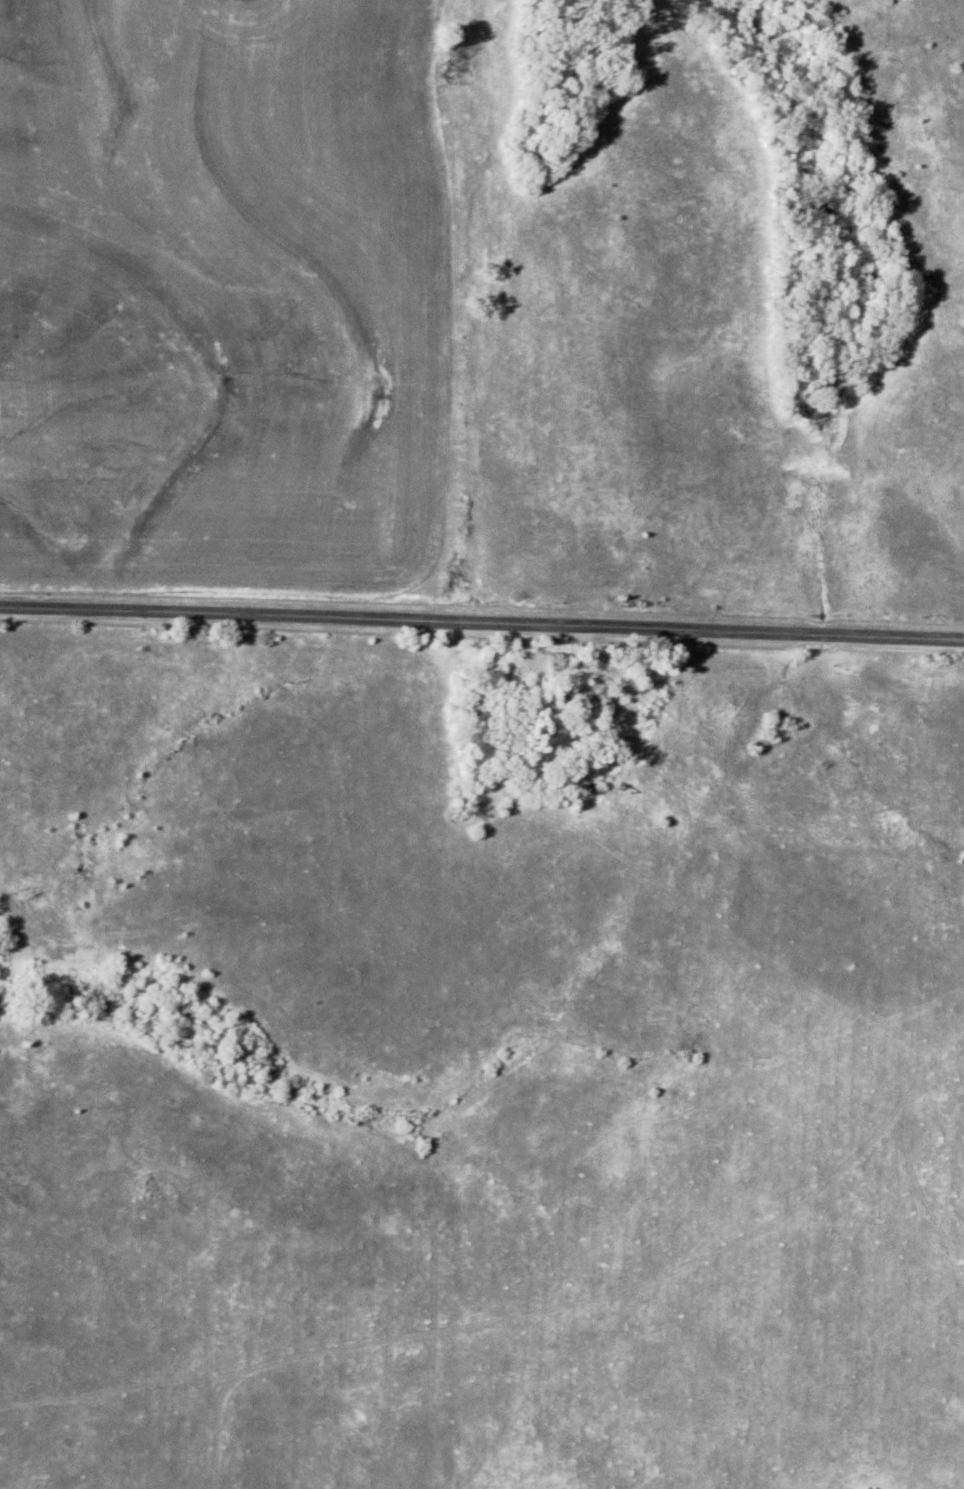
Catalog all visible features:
road: (482, 622)

